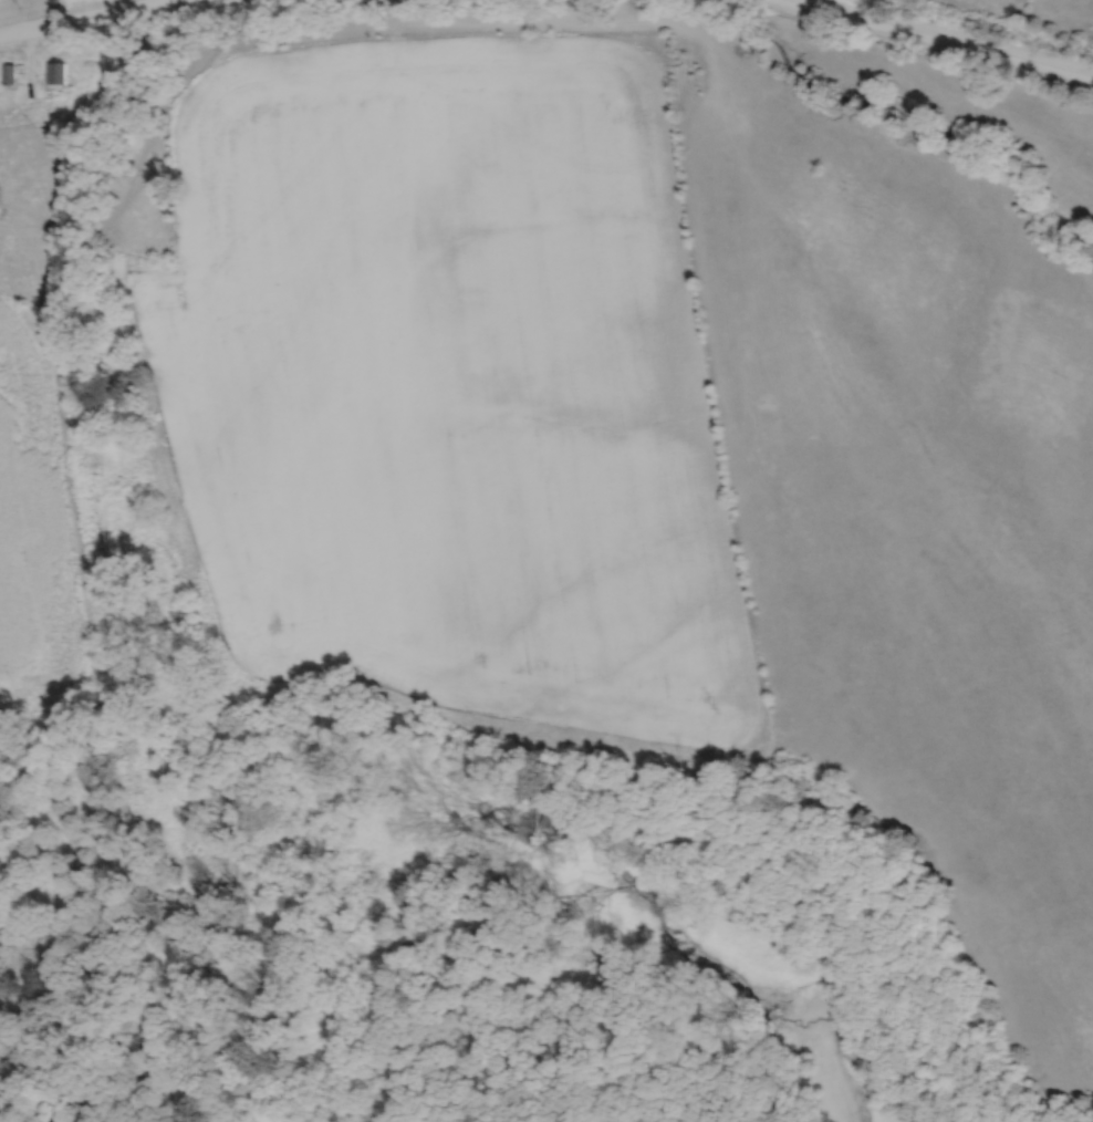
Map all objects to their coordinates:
road: (84, 17)
road: (947, 39)
building: (56, 72)
building: (9, 74)
building: (82, 126)

